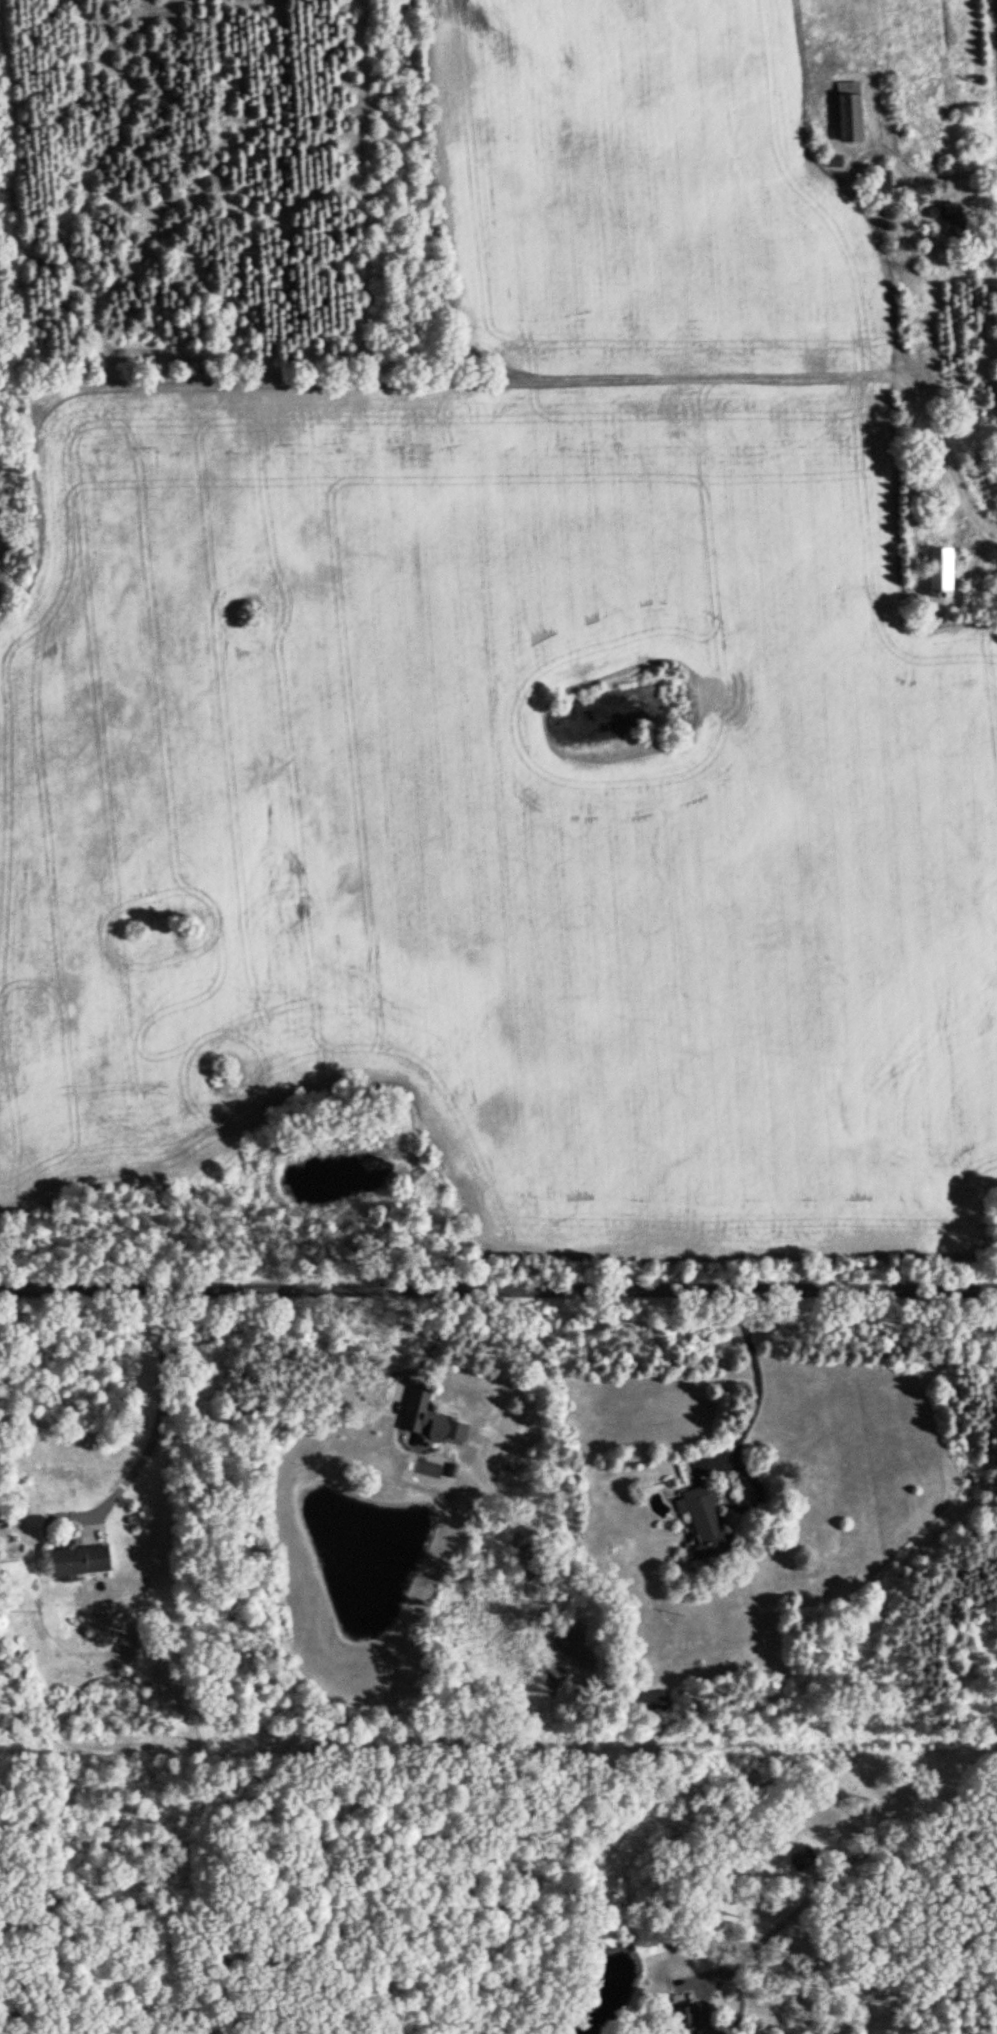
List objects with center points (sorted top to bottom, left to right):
building: (849, 107)
building: (831, 158)
crop: (648, 192)
building: (895, 193)
building: (950, 217)
building: (938, 566)
crop: (504, 797)
road: (498, 1288)
road: (756, 1385)
road: (158, 1419)
building: (428, 1419)
building: (703, 1517)
building: (77, 1559)
building: (647, 1698)
building: (801, 1857)
road: (837, 1877)
building: (683, 2019)

